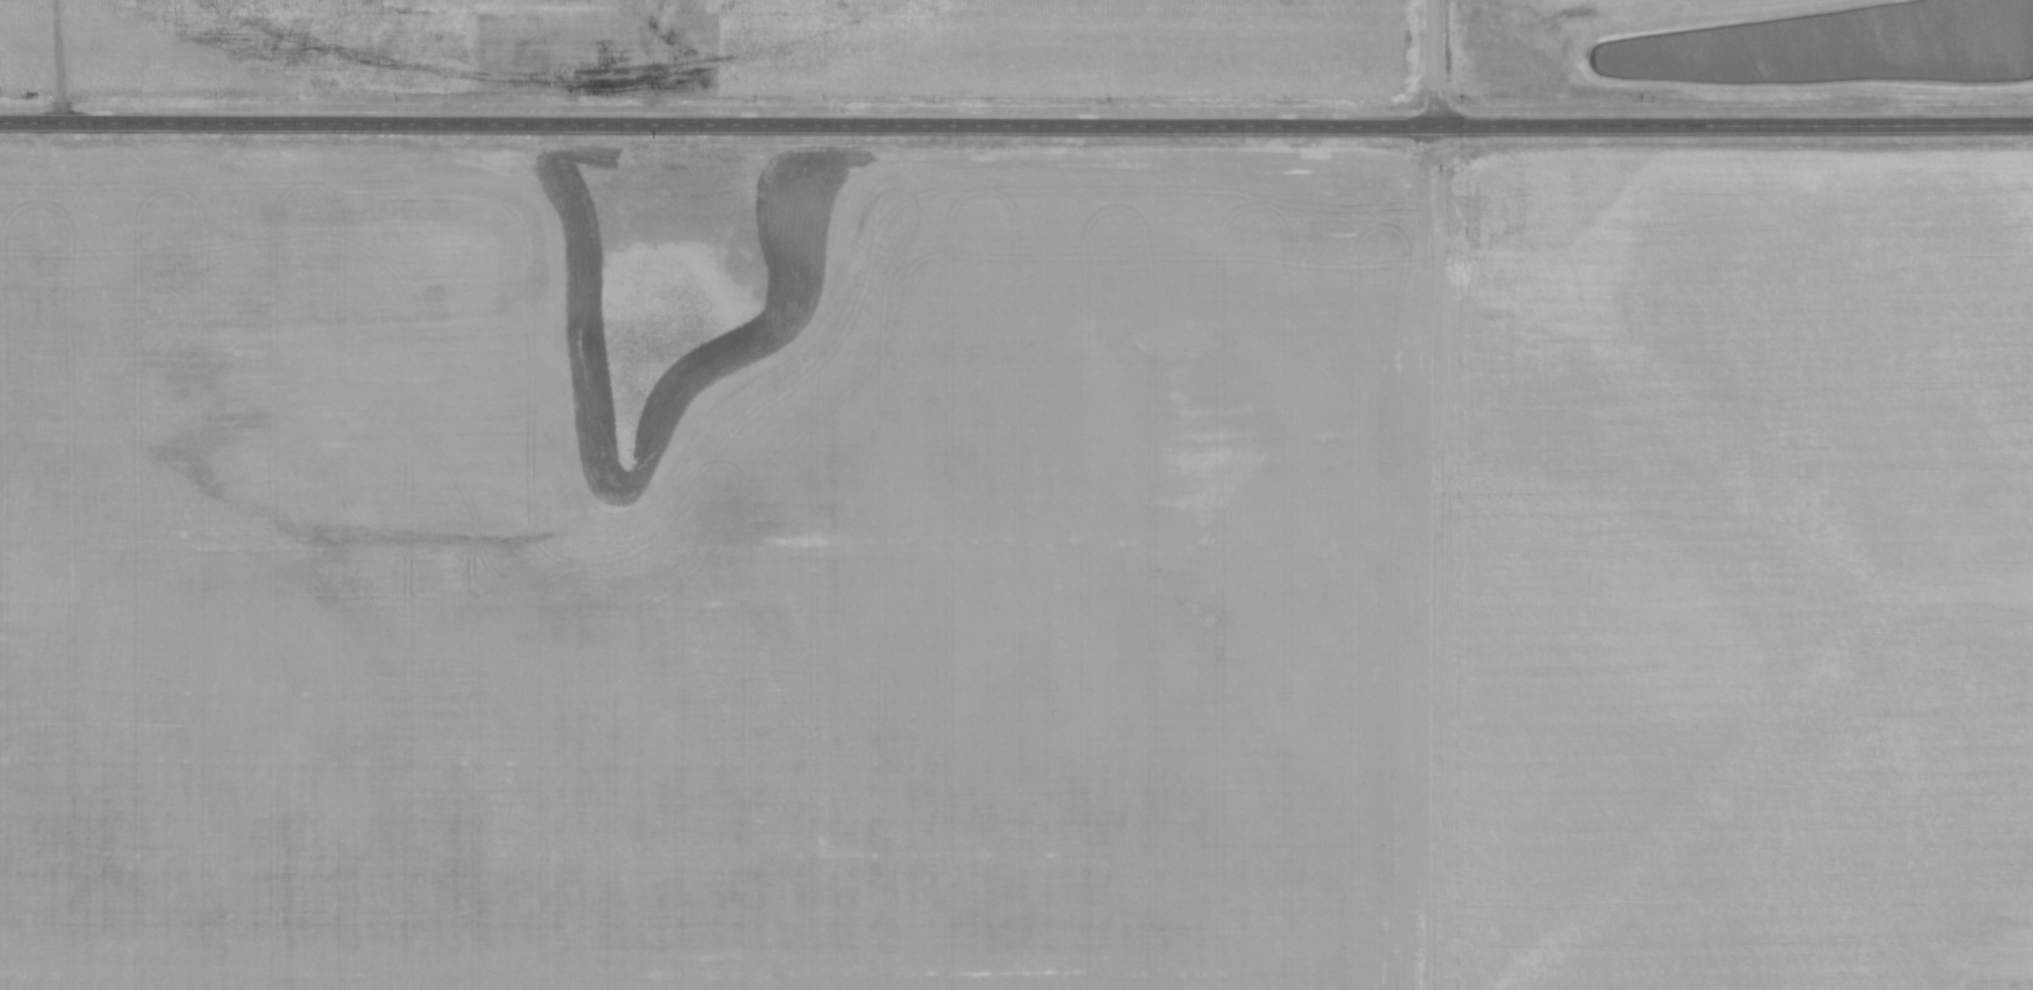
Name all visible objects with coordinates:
crop: (1581, 33)
crop: (719, 50)
road: (1437, 62)
road: (1016, 124)
road: (1437, 557)
crop: (1013, 567)

